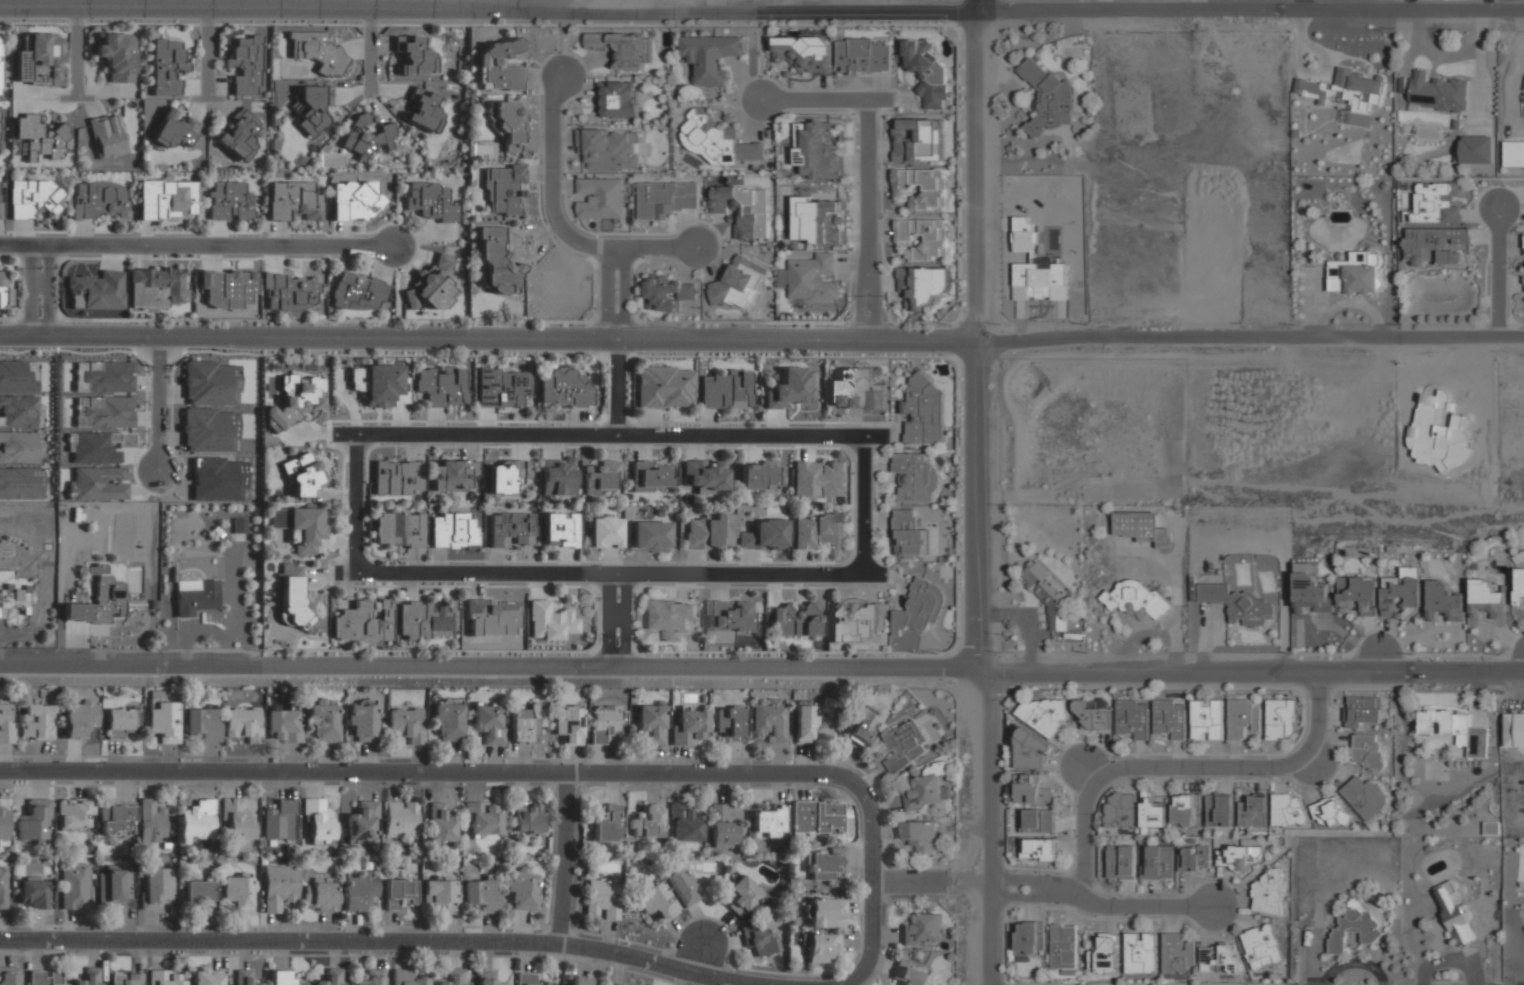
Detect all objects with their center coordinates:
road: (975, 6)
road: (384, 9)
road: (1248, 11)
road: (871, 12)
building: (622, 47)
building: (802, 48)
building: (316, 51)
road: (373, 51)
road: (79, 52)
building: (0, 53)
road: (209, 53)
building: (413, 55)
building: (863, 55)
building: (116, 56)
building: (711, 56)
building: (41, 60)
building: (245, 63)
building: (166, 65)
building: (497, 66)
building: (926, 72)
building: (1310, 90)
building: (1360, 90)
building: (1436, 93)
building: (1046, 96)
building: (619, 99)
building: (311, 107)
building: (424, 110)
building: (507, 124)
building: (173, 130)
building: (239, 135)
building: (366, 136)
building: (107, 137)
building: (41, 138)
building: (717, 139)
building: (917, 140)
building: (609, 147)
building: (1475, 149)
building: (816, 150)
road: (863, 174)
building: (501, 186)
building: (920, 187)
building: (599, 197)
building: (32, 198)
building: (0, 199)
building: (666, 199)
building: (166, 200)
building: (355, 200)
building: (100, 201)
building: (293, 201)
building: (429, 201)
building: (228, 202)
building: (1436, 202)
building: (743, 210)
road: (562, 215)
building: (817, 221)
building: (1024, 234)
building: (922, 238)
building: (1435, 243)
road: (197, 246)
building: (495, 261)
building: (1357, 273)
road: (1500, 274)
building: (812, 277)
building: (1040, 280)
building: (433, 284)
building: (921, 285)
building: (5, 287)
building: (156, 287)
road: (37, 290)
building: (97, 291)
building: (290, 291)
building: (359, 291)
road: (617, 292)
building: (666, 294)
road: (308, 334)
road: (1070, 340)
road: (974, 341)
building: (19, 376)
building: (375, 383)
building: (442, 385)
road: (615, 385)
building: (502, 386)
building: (665, 387)
building: (564, 388)
building: (791, 388)
building: (727, 389)
building: (855, 390)
building: (296, 399)
road: (159, 403)
building: (21, 411)
building: (923, 411)
road: (606, 435)
building: (21, 446)
building: (451, 474)
building: (759, 474)
building: (302, 475)
building: (508, 475)
building: (705, 475)
building: (557, 476)
building: (650, 476)
building: (398, 477)
building: (603, 477)
building: (915, 478)
building: (819, 479)
building: (21, 482)
road: (356, 501)
road: (862, 505)
building: (239, 526)
building: (300, 526)
building: (1136, 526)
building: (398, 529)
building: (510, 529)
building: (559, 529)
building: (452, 530)
building: (605, 531)
building: (709, 531)
building: (819, 534)
building: (650, 536)
building: (764, 536)
building: (909, 536)
road: (604, 570)
building: (1519, 587)
building: (1309, 589)
building: (1047, 591)
building: (1358, 593)
building: (194, 595)
building: (16, 596)
building: (1401, 596)
building: (293, 598)
building: (1135, 598)
building: (98, 599)
building: (1486, 599)
building: (1444, 601)
building: (1237, 603)
building: (920, 607)
building: (672, 616)
building: (728, 618)
building: (424, 620)
road: (613, 620)
building: (795, 620)
building: (363, 621)
building: (855, 621)
building: (551, 622)
road: (496, 667)
road: (1257, 672)
building: (1363, 710)
building: (1042, 713)
building: (1092, 716)
building: (1131, 717)
building: (163, 718)
building: (1169, 718)
building: (1241, 718)
building: (1280, 718)
building: (79, 719)
building: (1207, 719)
building: (770, 720)
building: (606, 721)
building: (36, 722)
building: (202, 722)
building: (649, 722)
building: (5, 723)
building: (119, 723)
building: (446, 723)
building: (488, 723)
building: (525, 723)
building: (568, 723)
building: (861, 723)
building: (243, 724)
building: (363, 724)
building: (729, 724)
building: (323, 725)
building: (406, 725)
building: (804, 725)
building: (688, 726)
building: (282, 727)
building: (1456, 729)
building: (1514, 730)
building: (904, 745)
building: (1030, 749)
building: (1366, 750)
road: (1183, 768)
road: (538, 769)
road: (990, 780)
building: (1033, 789)
building: (924, 792)
building: (1364, 796)
building: (1184, 809)
building: (1219, 809)
building: (1288, 809)
building: (1119, 810)
building: (1253, 810)
building: (1152, 811)
building: (1329, 812)
building: (75, 815)
building: (815, 817)
building: (482, 818)
building: (115, 819)
building: (198, 819)
building: (237, 819)
building: (400, 819)
building: (280, 820)
building: (318, 820)
building: (527, 820)
building: (1037, 820)
building: (151, 821)
building: (363, 821)
building: (646, 821)
building: (767, 821)
building: (32, 823)
building: (684, 823)
building: (4, 824)
building: (439, 824)
building: (606, 825)
building: (722, 828)
building: (920, 837)
building: (1038, 850)
road: (567, 854)
building: (1238, 855)
building: (1193, 859)
building: (823, 862)
building: (1121, 862)
building: (1157, 862)
road: (932, 881)
building: (74, 886)
building: (155, 886)
building: (113, 887)
building: (279, 887)
building: (682, 888)
building: (3, 889)
building: (358, 891)
building: (523, 891)
building: (1267, 891)
building: (398, 892)
building: (198, 893)
building: (237, 893)
building: (33, 895)
building: (439, 895)
building: (320, 896)
building: (481, 896)
building: (741, 896)
building: (602, 898)
road: (1101, 903)
building: (657, 904)
building: (822, 912)
building: (1454, 914)
building: (1355, 927)
building: (922, 929)
road: (990, 934)
road: (281, 938)
building: (1029, 939)
building: (758, 940)
building: (821, 946)
building: (1063, 946)
building: (1260, 946)
building: (1140, 952)
building: (1176, 953)
building: (1105, 954)
road: (701, 956)
building: (1218, 958)
road: (663, 964)
building: (911, 973)
building: (9, 975)
building: (88, 976)
building: (206, 976)
building: (45, 977)
building: (163, 977)
building: (244, 977)
building: (330, 977)
building: (283, 978)
building: (406, 978)
building: (453, 978)
building: (125, 979)
building: (371, 979)
building: (485, 979)
building: (528, 979)
building: (581, 980)
building: (613, 984)

